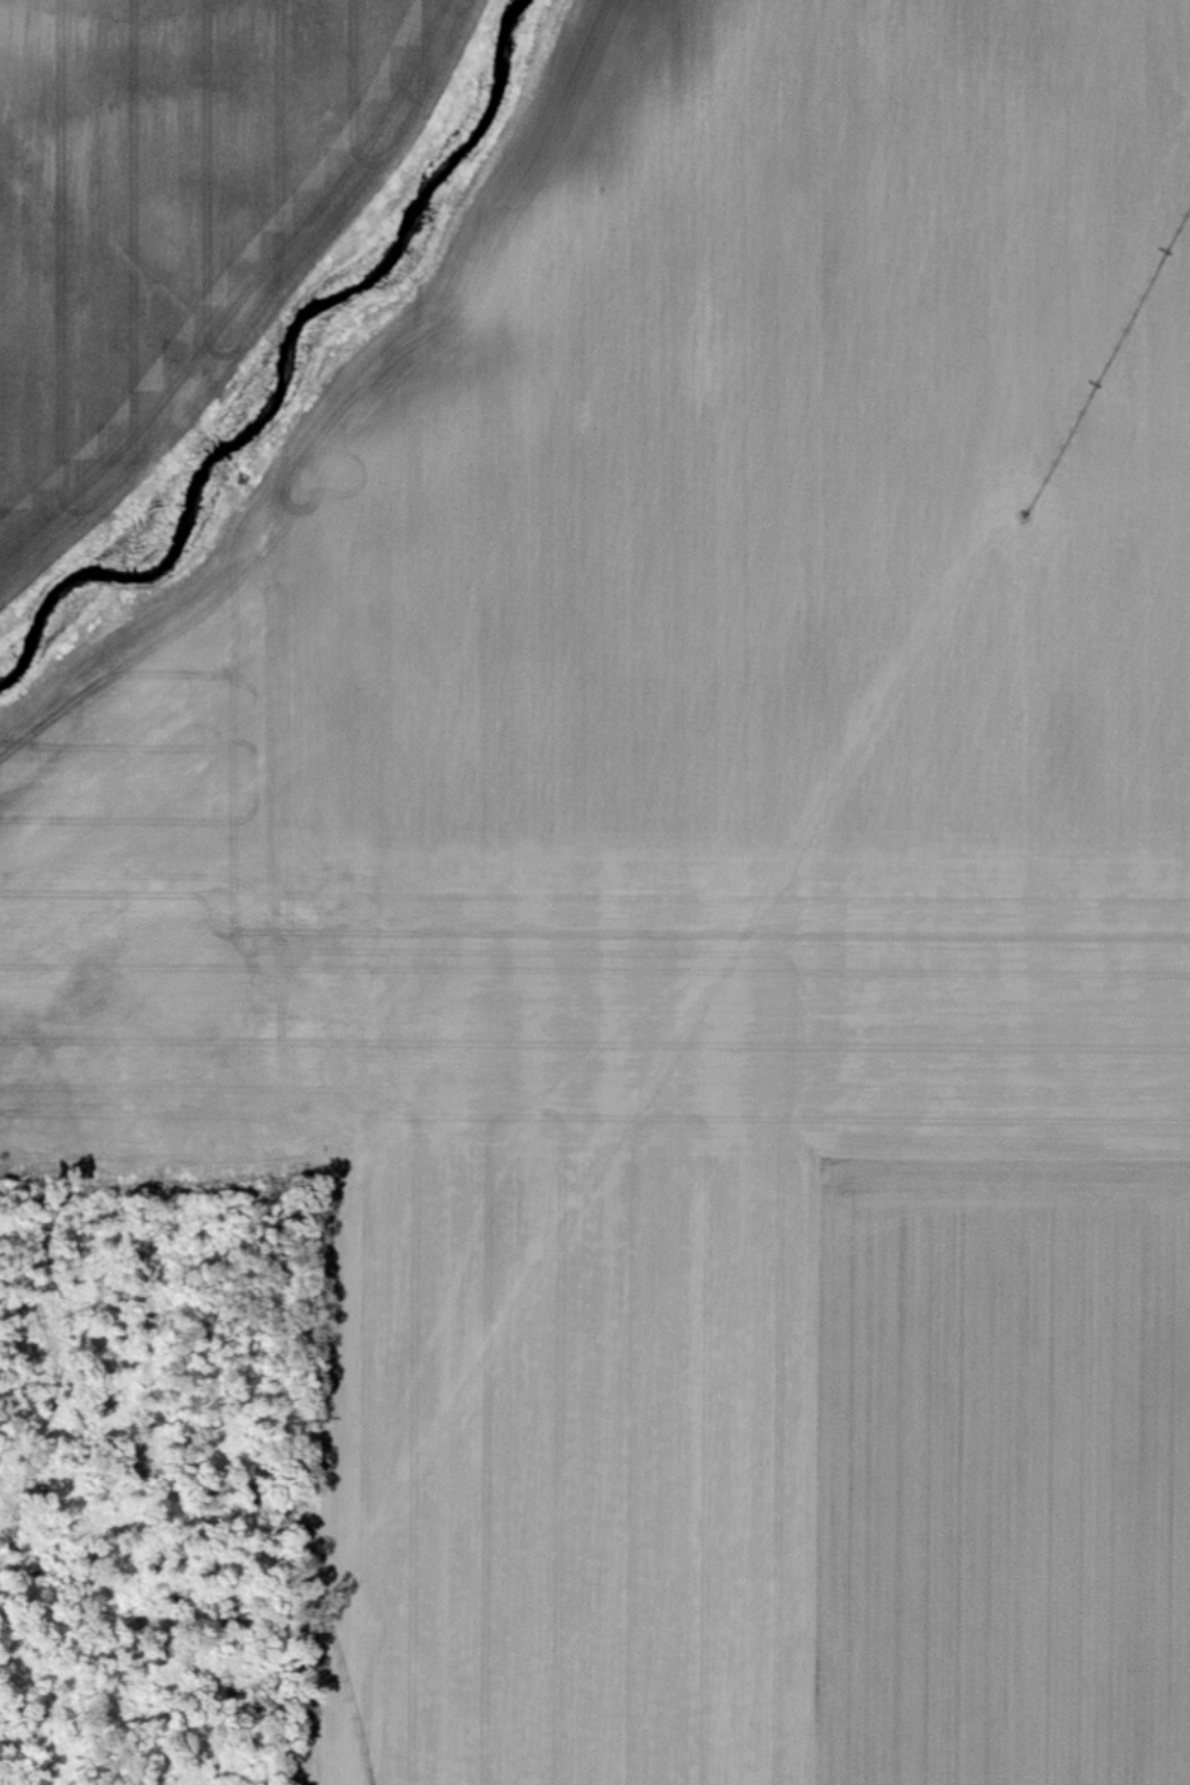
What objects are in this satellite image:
building: (916, 1176)

